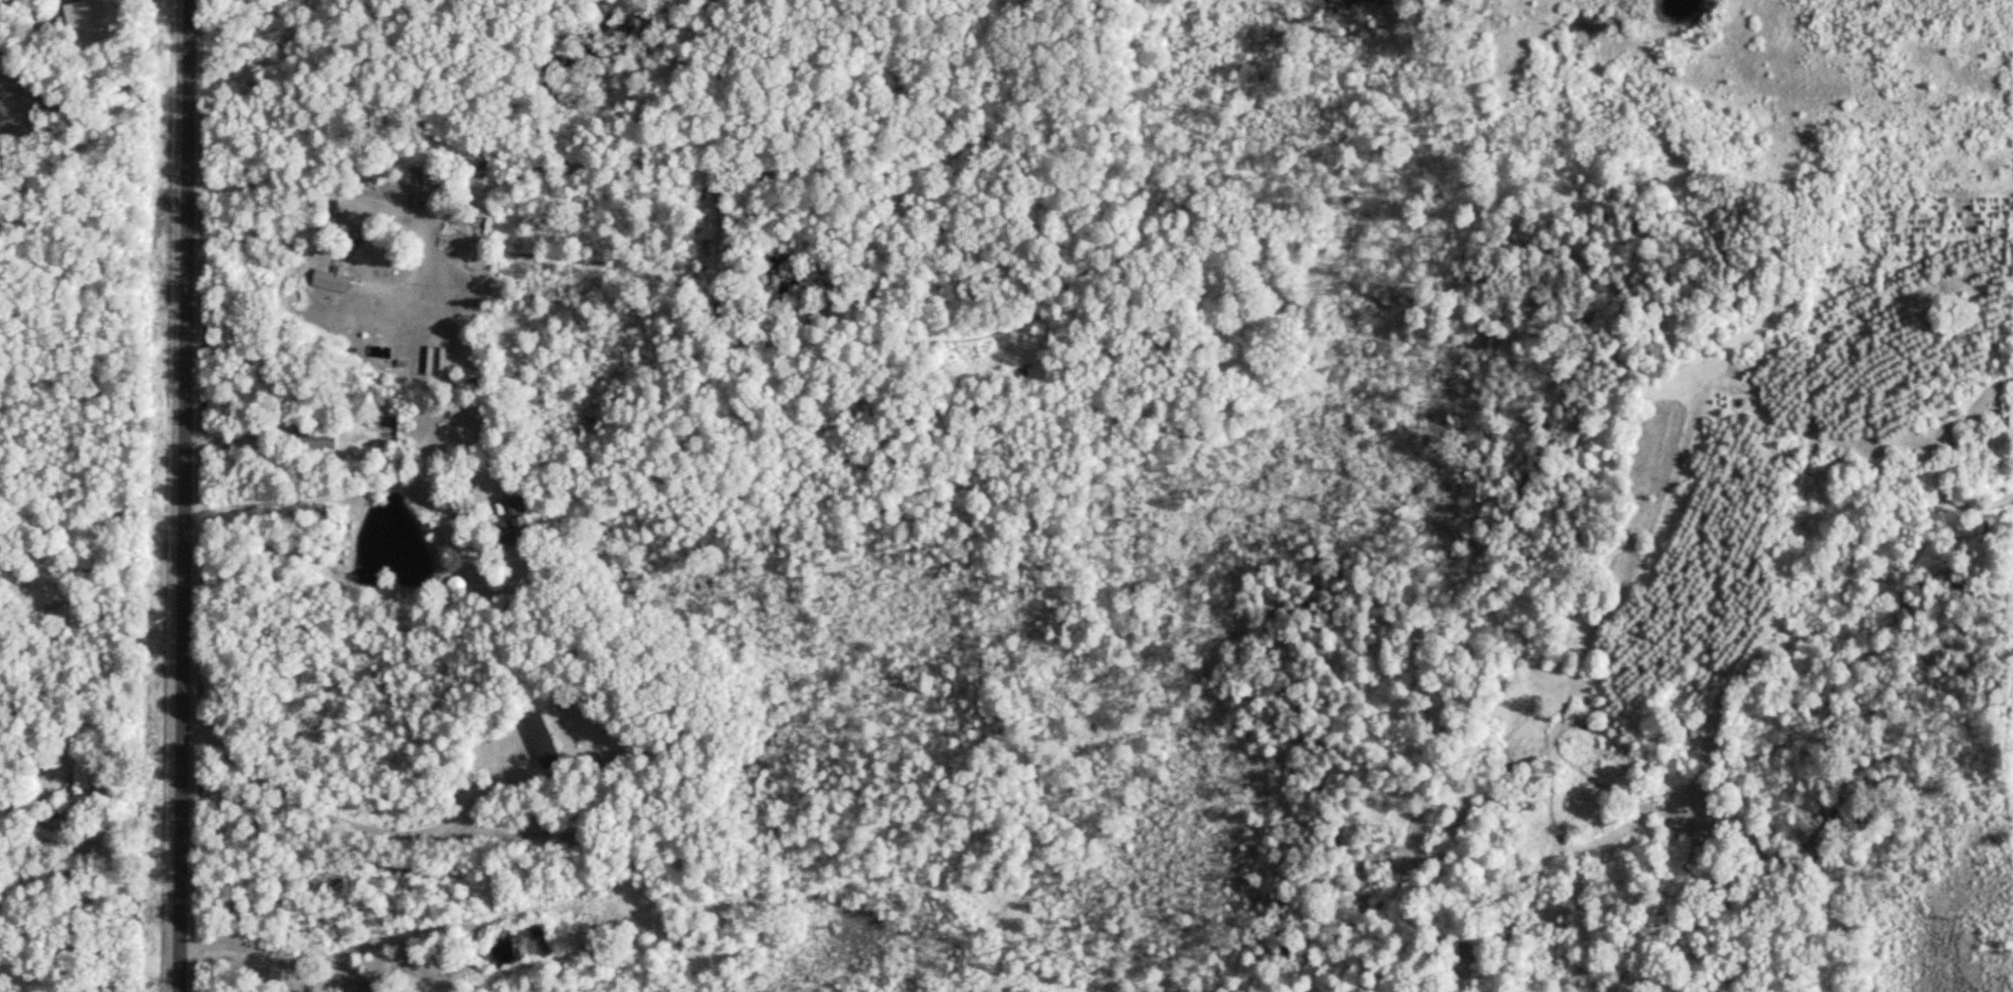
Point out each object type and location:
building: (94, 24)
road: (361, 203)
building: (461, 269)
building: (336, 280)
building: (314, 439)
road: (349, 490)
road: (186, 496)
building: (517, 524)
building: (545, 741)
building: (85, 778)
road: (348, 818)
building: (53, 839)
road: (247, 959)

